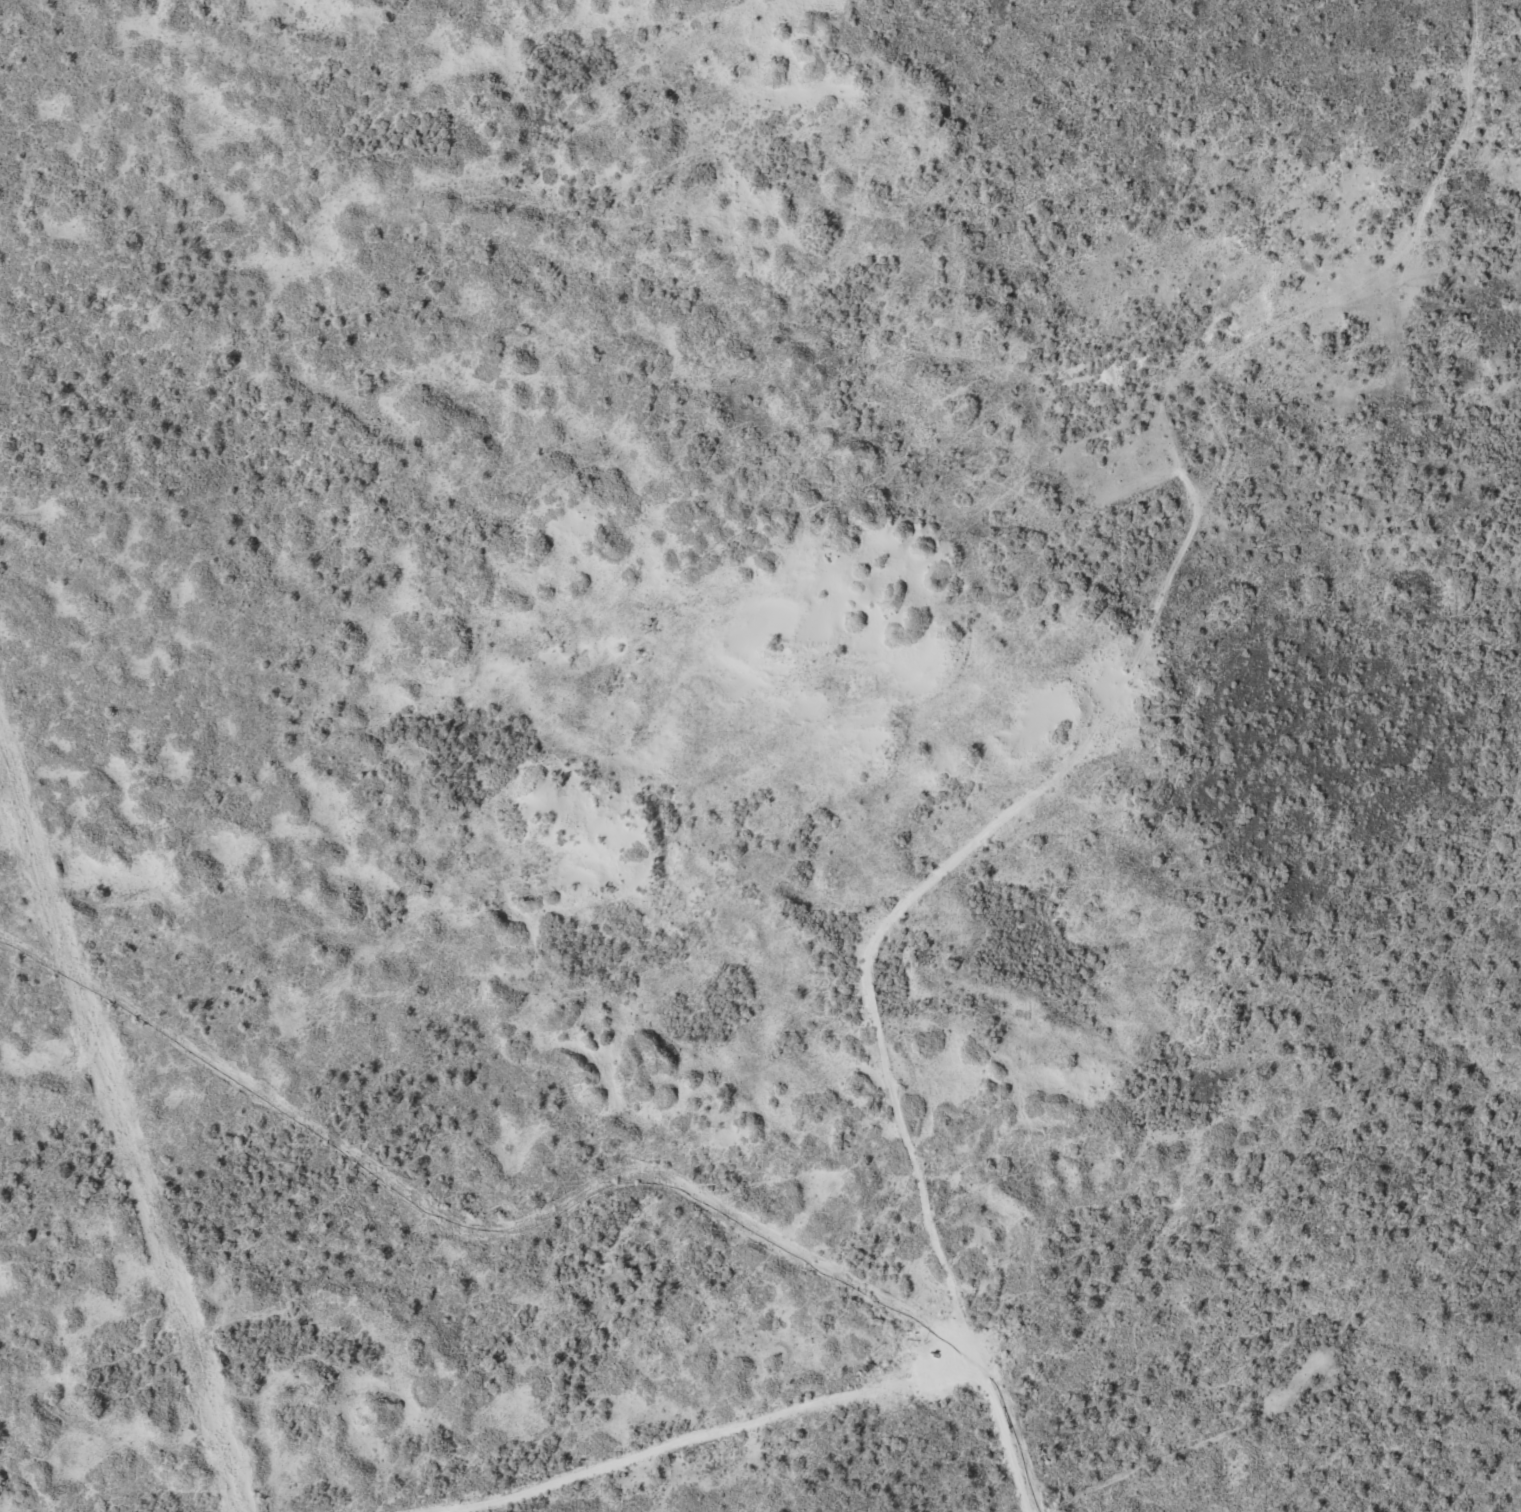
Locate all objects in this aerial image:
road: (1053, 731)
road: (737, 1424)

